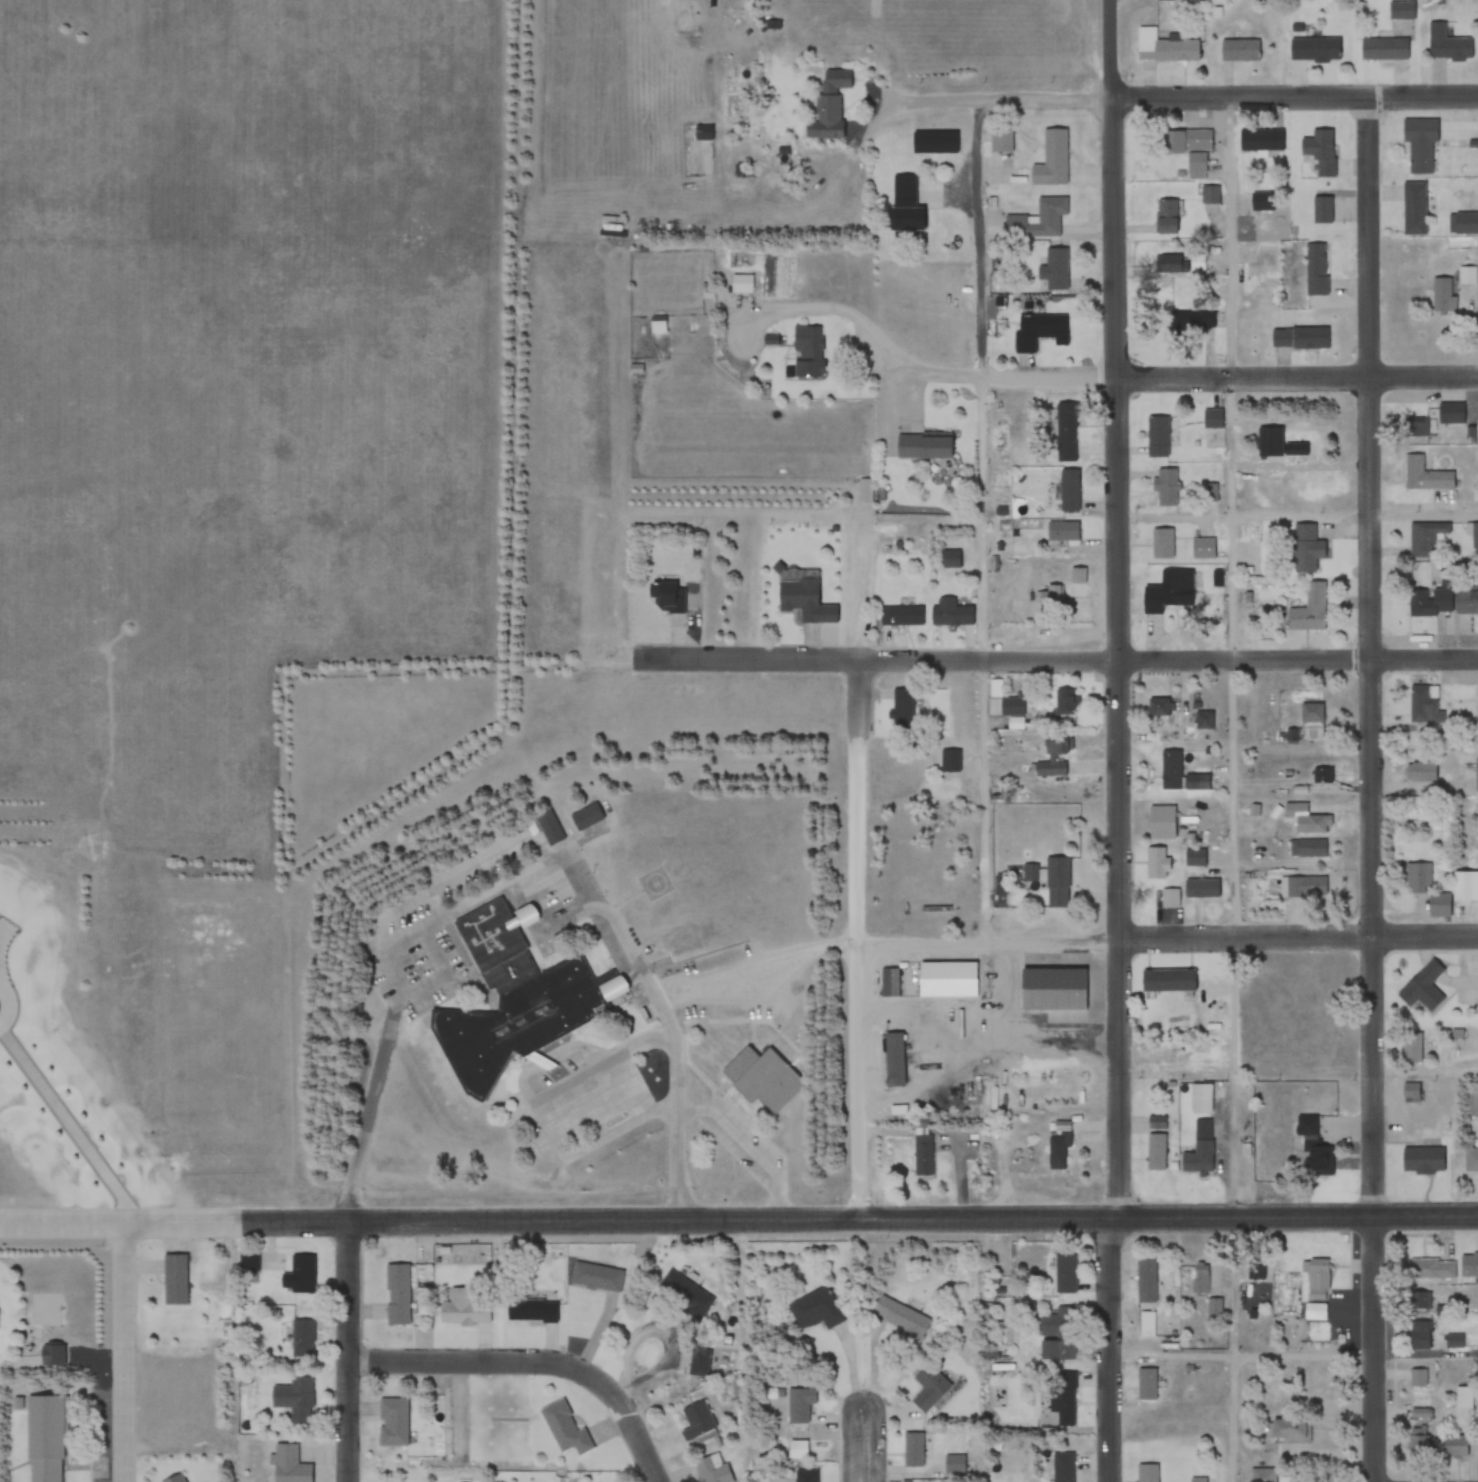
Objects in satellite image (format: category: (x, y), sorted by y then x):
building: (1400, 11)
building: (774, 26)
building: (1447, 44)
building: (1164, 47)
building: (1314, 49)
building: (1383, 49)
building: (1241, 50)
building: (835, 78)
road: (1188, 96)
building: (813, 130)
building: (703, 133)
building: (1255, 140)
building: (1001, 141)
building: (933, 142)
building: (1419, 145)
building: (1187, 148)
building: (1319, 151)
building: (1051, 159)
building: (1211, 195)
building: (1261, 201)
building: (902, 206)
building: (1414, 207)
building: (1322, 209)
building: (1165, 217)
building: (1038, 220)
building: (1171, 263)
building: (1054, 269)
building: (1315, 269)
building: (741, 284)
building: (1443, 295)
building: (1191, 320)
road: (864, 322)
building: (657, 324)
building: (1039, 329)
building: (1308, 337)
building: (806, 350)
road: (1229, 376)
building: (1211, 418)
building: (1416, 428)
building: (1064, 431)
building: (1156, 431)
building: (920, 445)
building: (1293, 449)
building: (1424, 475)
building: (1164, 487)
building: (1066, 489)
road: (982, 519)
building: (1059, 530)
building: (1475, 535)
building: (1424, 539)
building: (1160, 543)
building: (1200, 548)
building: (1305, 548)
building: (947, 559)
building: (1077, 576)
building: (1167, 594)
building: (664, 596)
building: (1050, 597)
building: (796, 598)
building: (1465, 599)
building: (1429, 601)
building: (1307, 610)
building: (947, 613)
building: (898, 616)
road: (1234, 656)
road: (1049, 660)
building: (1477, 695)
building: (1063, 703)
building: (1009, 707)
building: (1156, 707)
building: (1421, 708)
building: (899, 709)
building: (1201, 721)
building: (1310, 722)
road: (1121, 741)
building: (1051, 756)
building: (948, 760)
building: (1170, 769)
building: (1421, 772)
building: (1475, 774)
building: (1322, 776)
road: (1374, 790)
building: (587, 816)
building: (1305, 819)
building: (1160, 821)
building: (548, 826)
building: (1307, 848)
building: (1194, 857)
building: (1154, 863)
road: (859, 867)
building: (1029, 871)
building: (1055, 871)
building: (1469, 880)
helipad: (660, 883)
building: (1305, 886)
building: (1199, 887)
building: (1427, 889)
building: (1169, 898)
parking lot: (408, 921)
road: (547, 931)
road: (384, 938)
road: (1168, 940)
road: (755, 963)
building: (945, 979)
building: (888, 982)
road: (425, 985)
building: (1049, 988)
building: (1422, 988)
building: (511, 1002)
road: (671, 1023)
building: (1410, 1048)
building: (891, 1058)
building: (766, 1082)
road: (623, 1090)
road: (549, 1092)
building: (1412, 1092)
building: (1200, 1097)
road: (587, 1109)
parking lot: (591, 1109)
road: (67, 1123)
parking lot: (744, 1140)
road: (592, 1145)
road: (749, 1147)
building: (1312, 1147)
building: (1198, 1149)
building: (1056, 1150)
building: (1154, 1151)
building: (921, 1154)
building: (1471, 1159)
building: (1422, 1160)
road: (739, 1221)
building: (248, 1262)
building: (1469, 1265)
building: (1432, 1269)
building: (301, 1270)
building: (1257, 1270)
building: (1066, 1273)
building: (597, 1276)
building: (1200, 1277)
building: (1317, 1278)
building: (1145, 1279)
building: (175, 1280)
building: (684, 1294)
building: (396, 1295)
building: (1423, 1301)
building: (1213, 1306)
building: (463, 1310)
building: (529, 1310)
building: (813, 1310)
building: (898, 1317)
building: (1056, 1336)
building: (1419, 1336)
building: (301, 1338)
building: (1454, 1341)
road: (126, 1351)
road: (351, 1351)
building: (50, 1354)
road: (1292, 1354)
road: (538, 1361)
building: (1418, 1379)
building: (1146, 1383)
building: (927, 1387)
building: (1062, 1399)
building: (300, 1400)
building: (798, 1405)
building: (699, 1420)
building: (392, 1422)
building: (565, 1429)
building: (1289, 1430)
building: (43, 1439)
building: (1420, 1440)
road: (864, 1442)
building: (1457, 1446)
building: (912, 1452)
building: (953, 1464)
building: (1061, 1467)
building: (713, 1469)
building: (1146, 1472)
building: (1262, 1475)
building: (806, 1476)
building: (174, 1479)
building: (1198, 1480)

